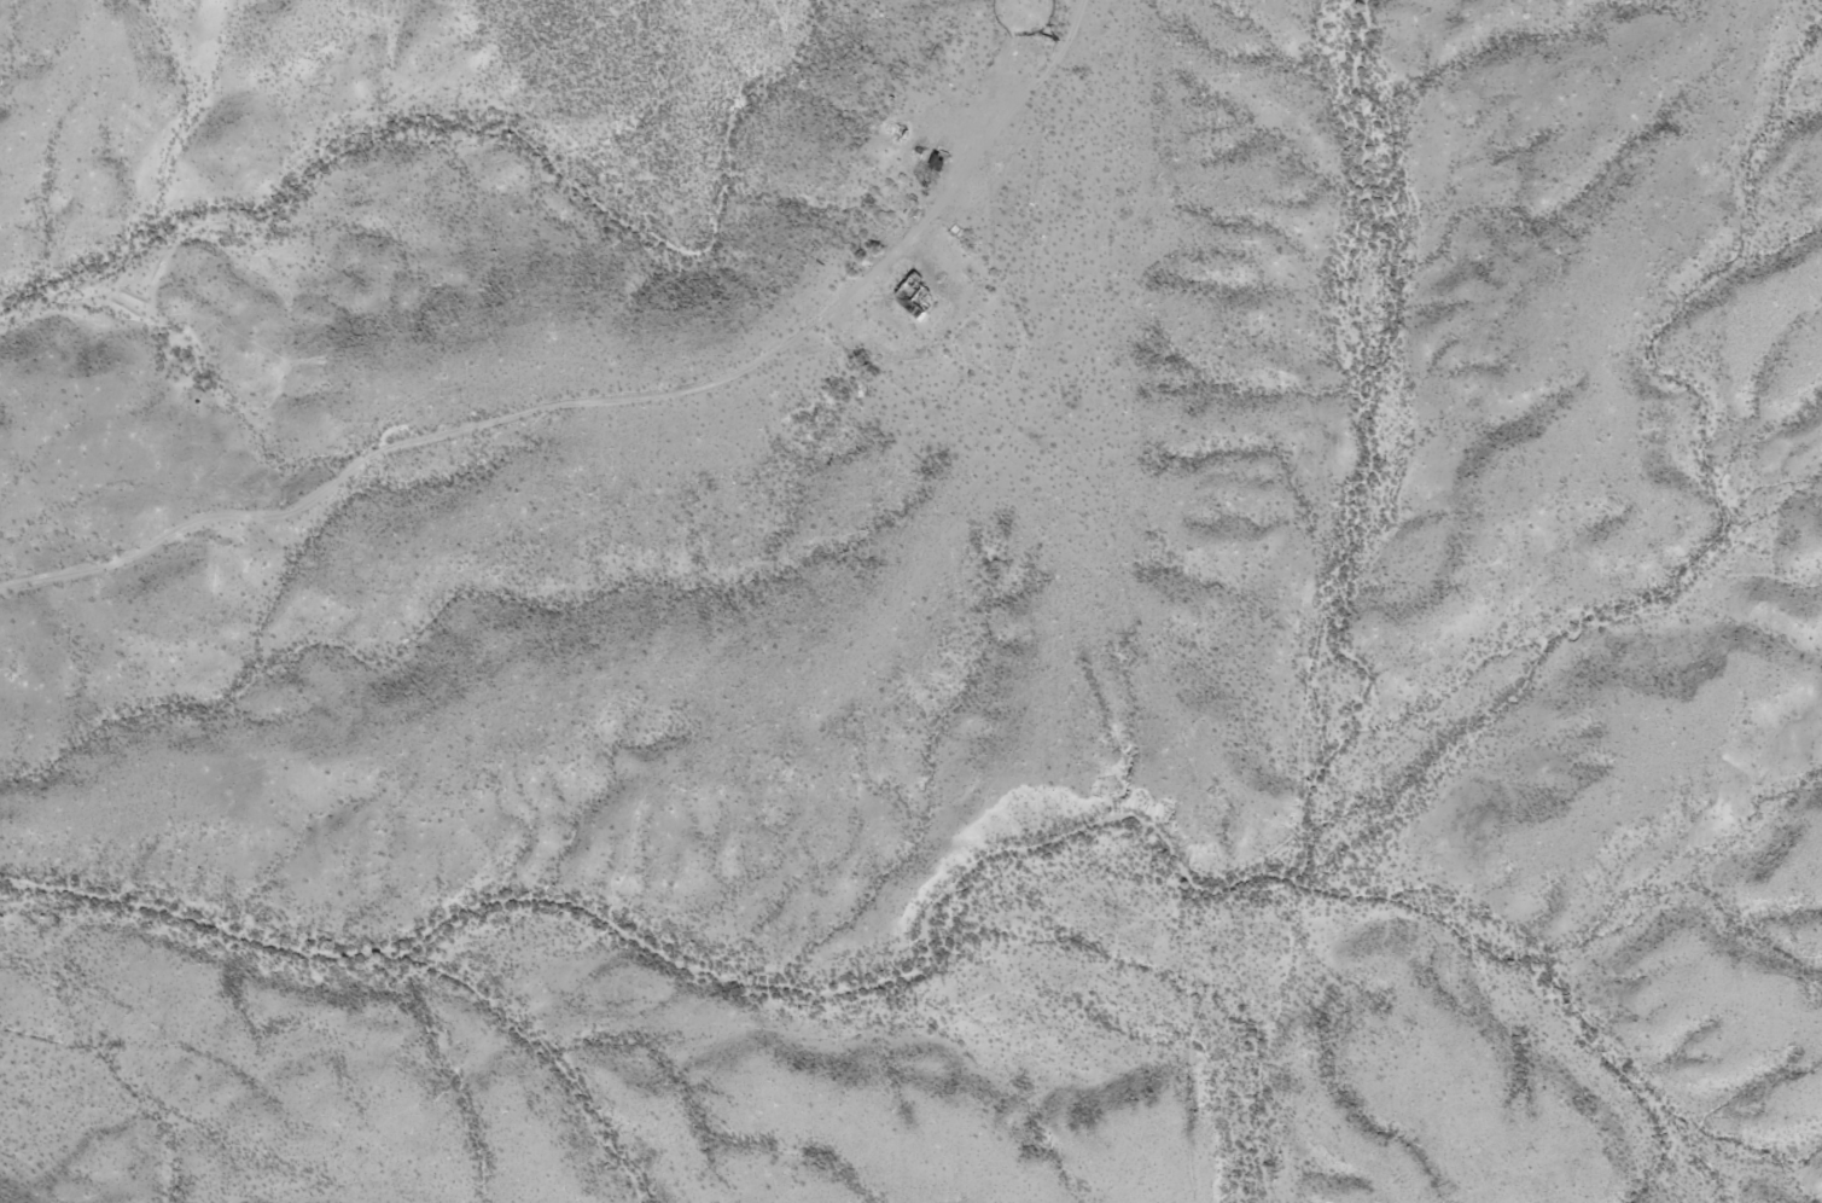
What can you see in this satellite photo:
road: (611, 403)

